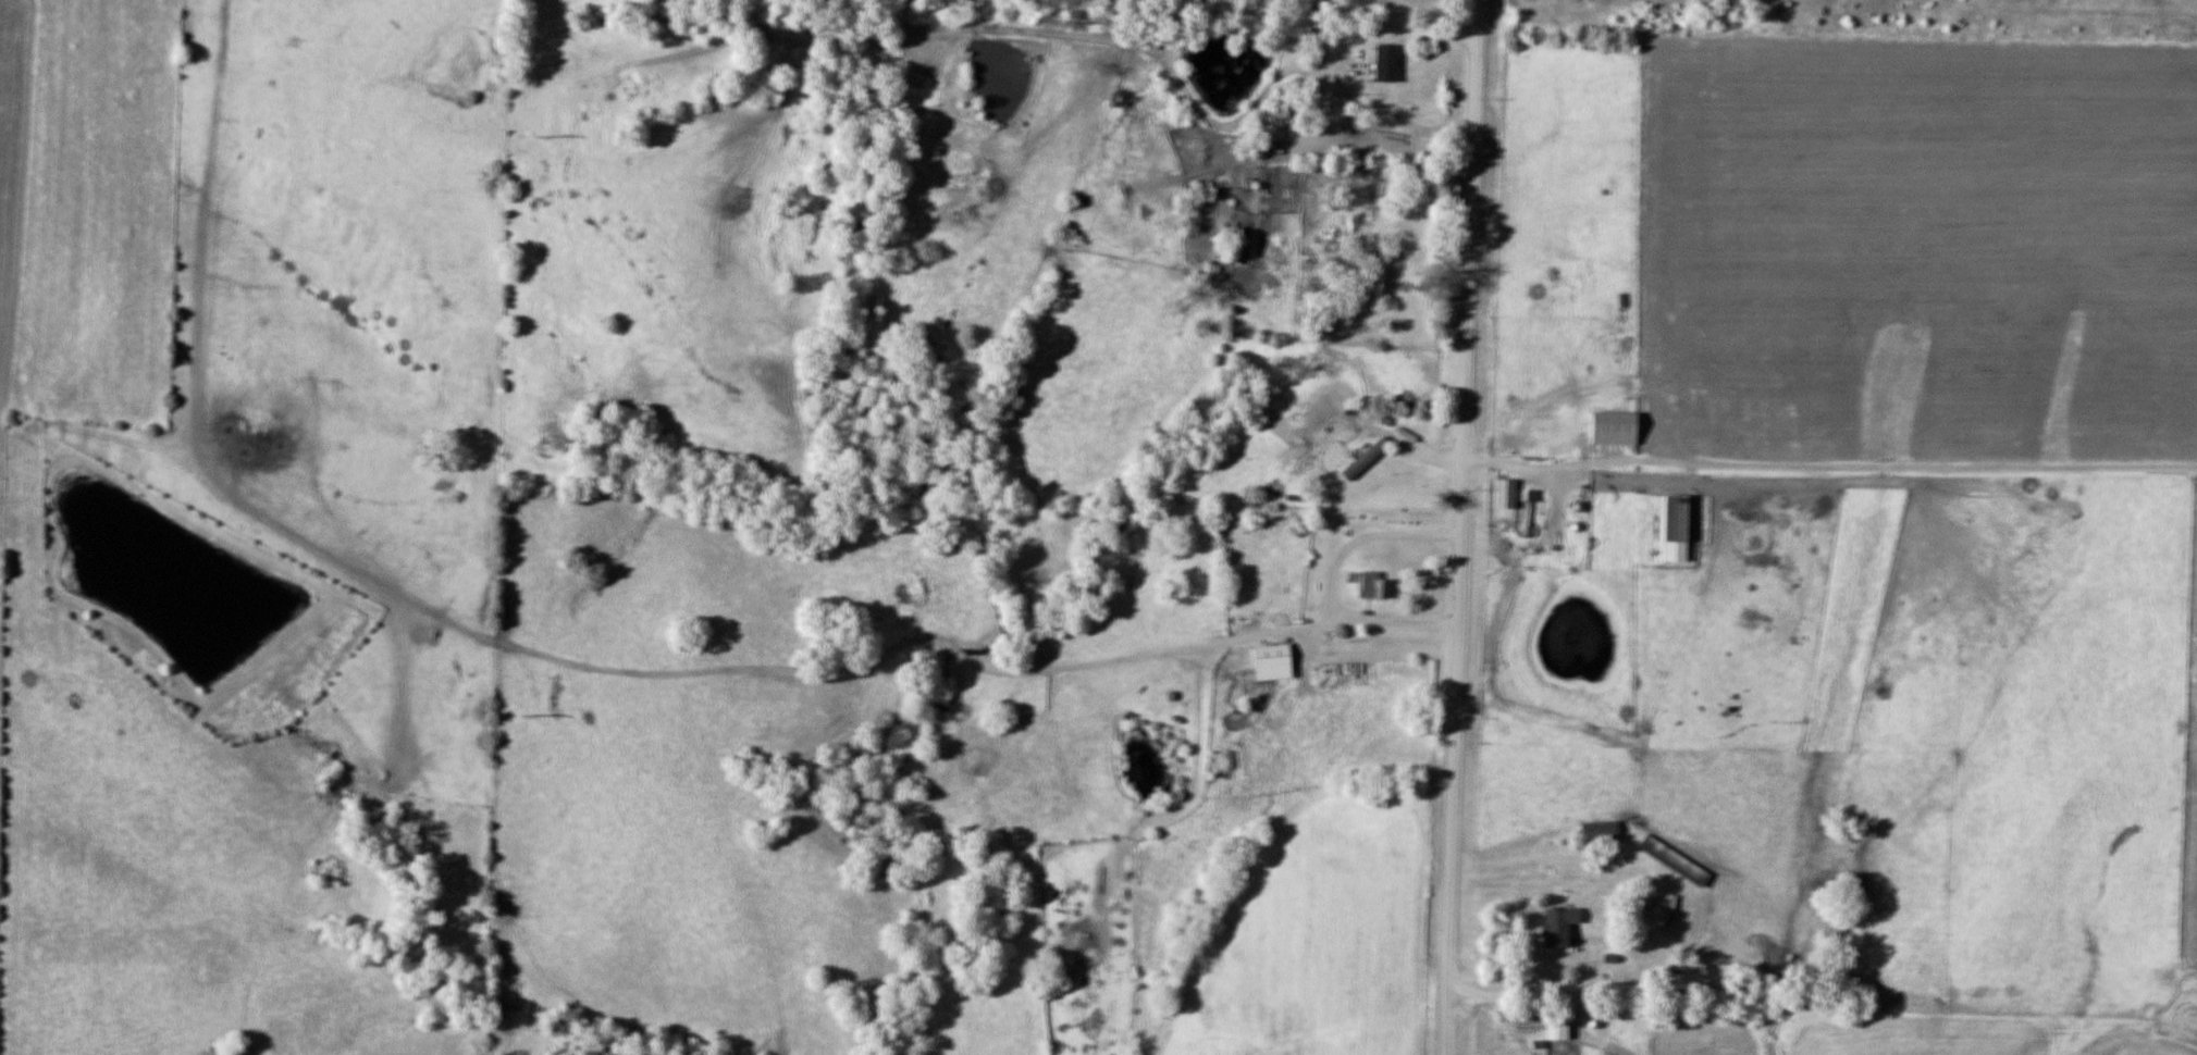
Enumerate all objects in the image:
building: (1381, 71)
building: (1276, 131)
building: (1618, 429)
building: (1367, 459)
building: (1507, 493)
road: (1461, 527)
building: (1679, 527)
building: (1375, 585)
building: (1274, 662)
building: (1602, 831)
building: (1677, 861)
building: (1560, 926)
building: (1559, 1028)

